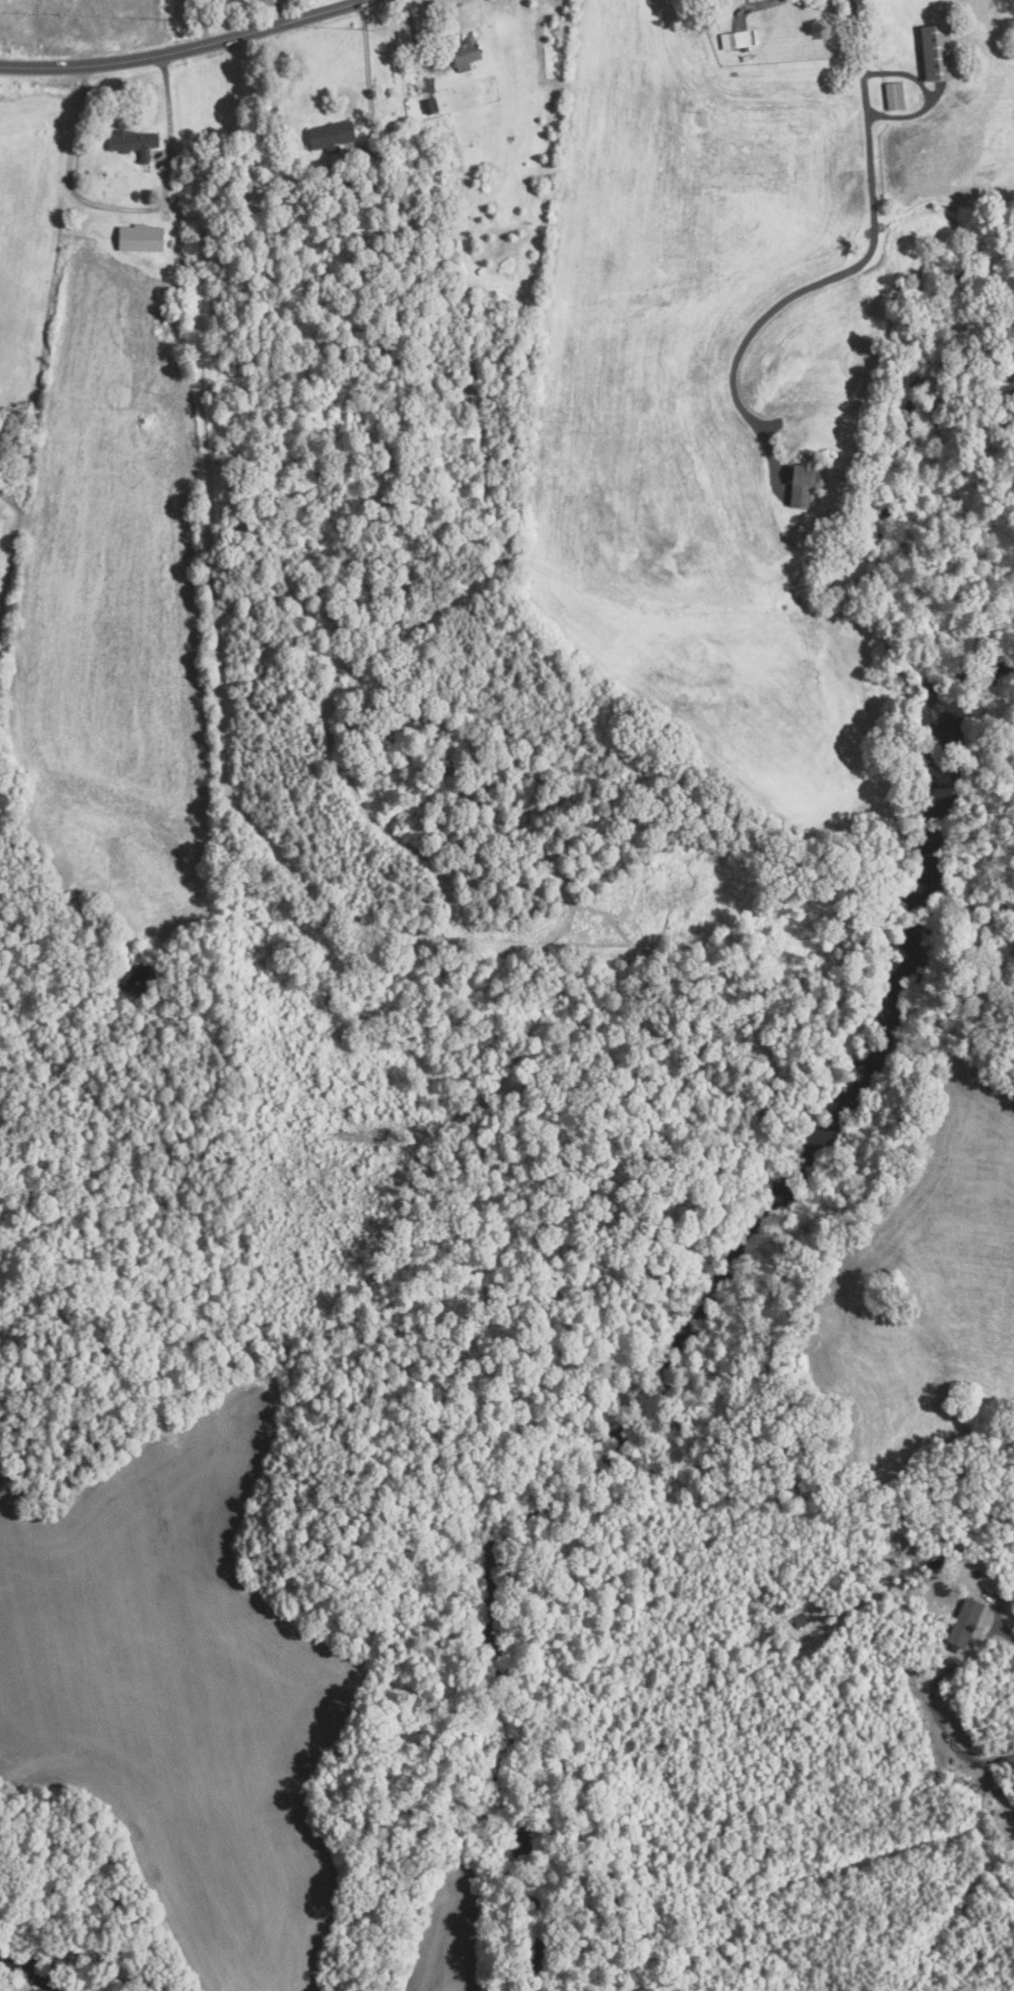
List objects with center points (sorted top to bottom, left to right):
road: (277, 8)
road: (203, 21)
road: (415, 39)
building: (739, 39)
road: (180, 49)
building: (467, 53)
building: (938, 53)
road: (367, 83)
road: (927, 95)
building: (895, 96)
building: (426, 107)
building: (334, 135)
building: (134, 143)
building: (351, 178)
building: (378, 185)
building: (173, 199)
road: (124, 209)
crop: (30, 237)
building: (142, 237)
road: (849, 269)
building: (172, 304)
crop: (689, 398)
building: (804, 484)
crop: (9, 545)
crop: (111, 649)
building: (530, 823)
crop: (927, 1294)
building: (801, 1622)
road: (1003, 1622)
building: (967, 1623)
crop: (182, 1691)
road: (945, 1732)
crop: (443, 1932)

